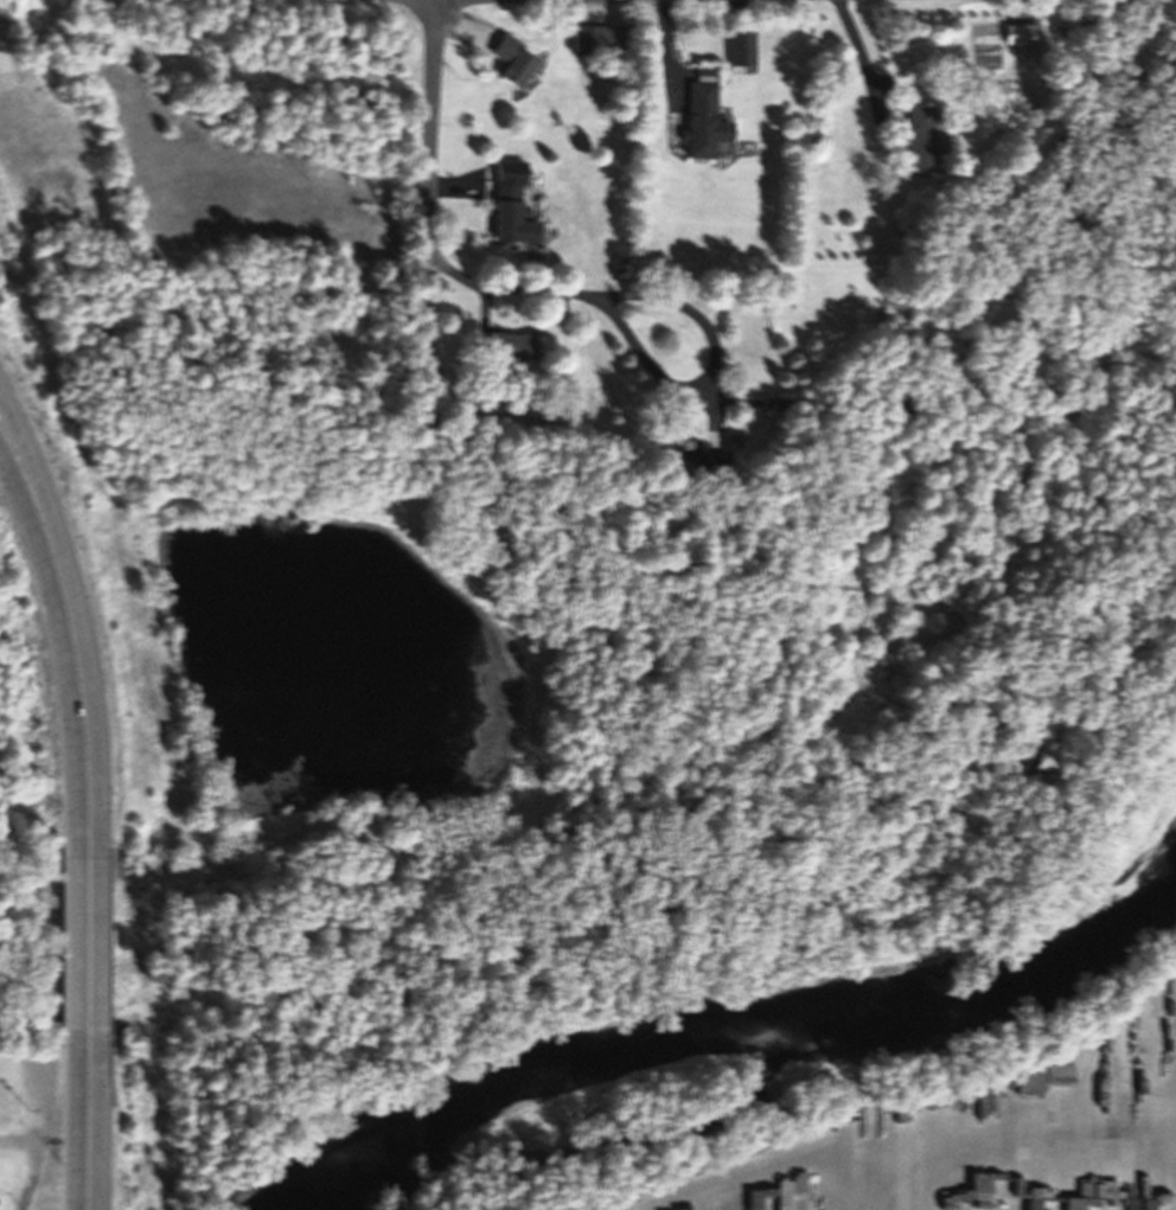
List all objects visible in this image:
building: (597, 38)
building: (740, 49)
building: (512, 60)
building: (703, 122)
road: (432, 126)
building: (916, 139)
building: (509, 210)
building: (506, 345)
building: (699, 460)
road: (18, 461)
road: (15, 481)
road: (75, 683)
road: (84, 943)
park: (389, 1031)
river: (791, 1078)
road: (82, 1118)

